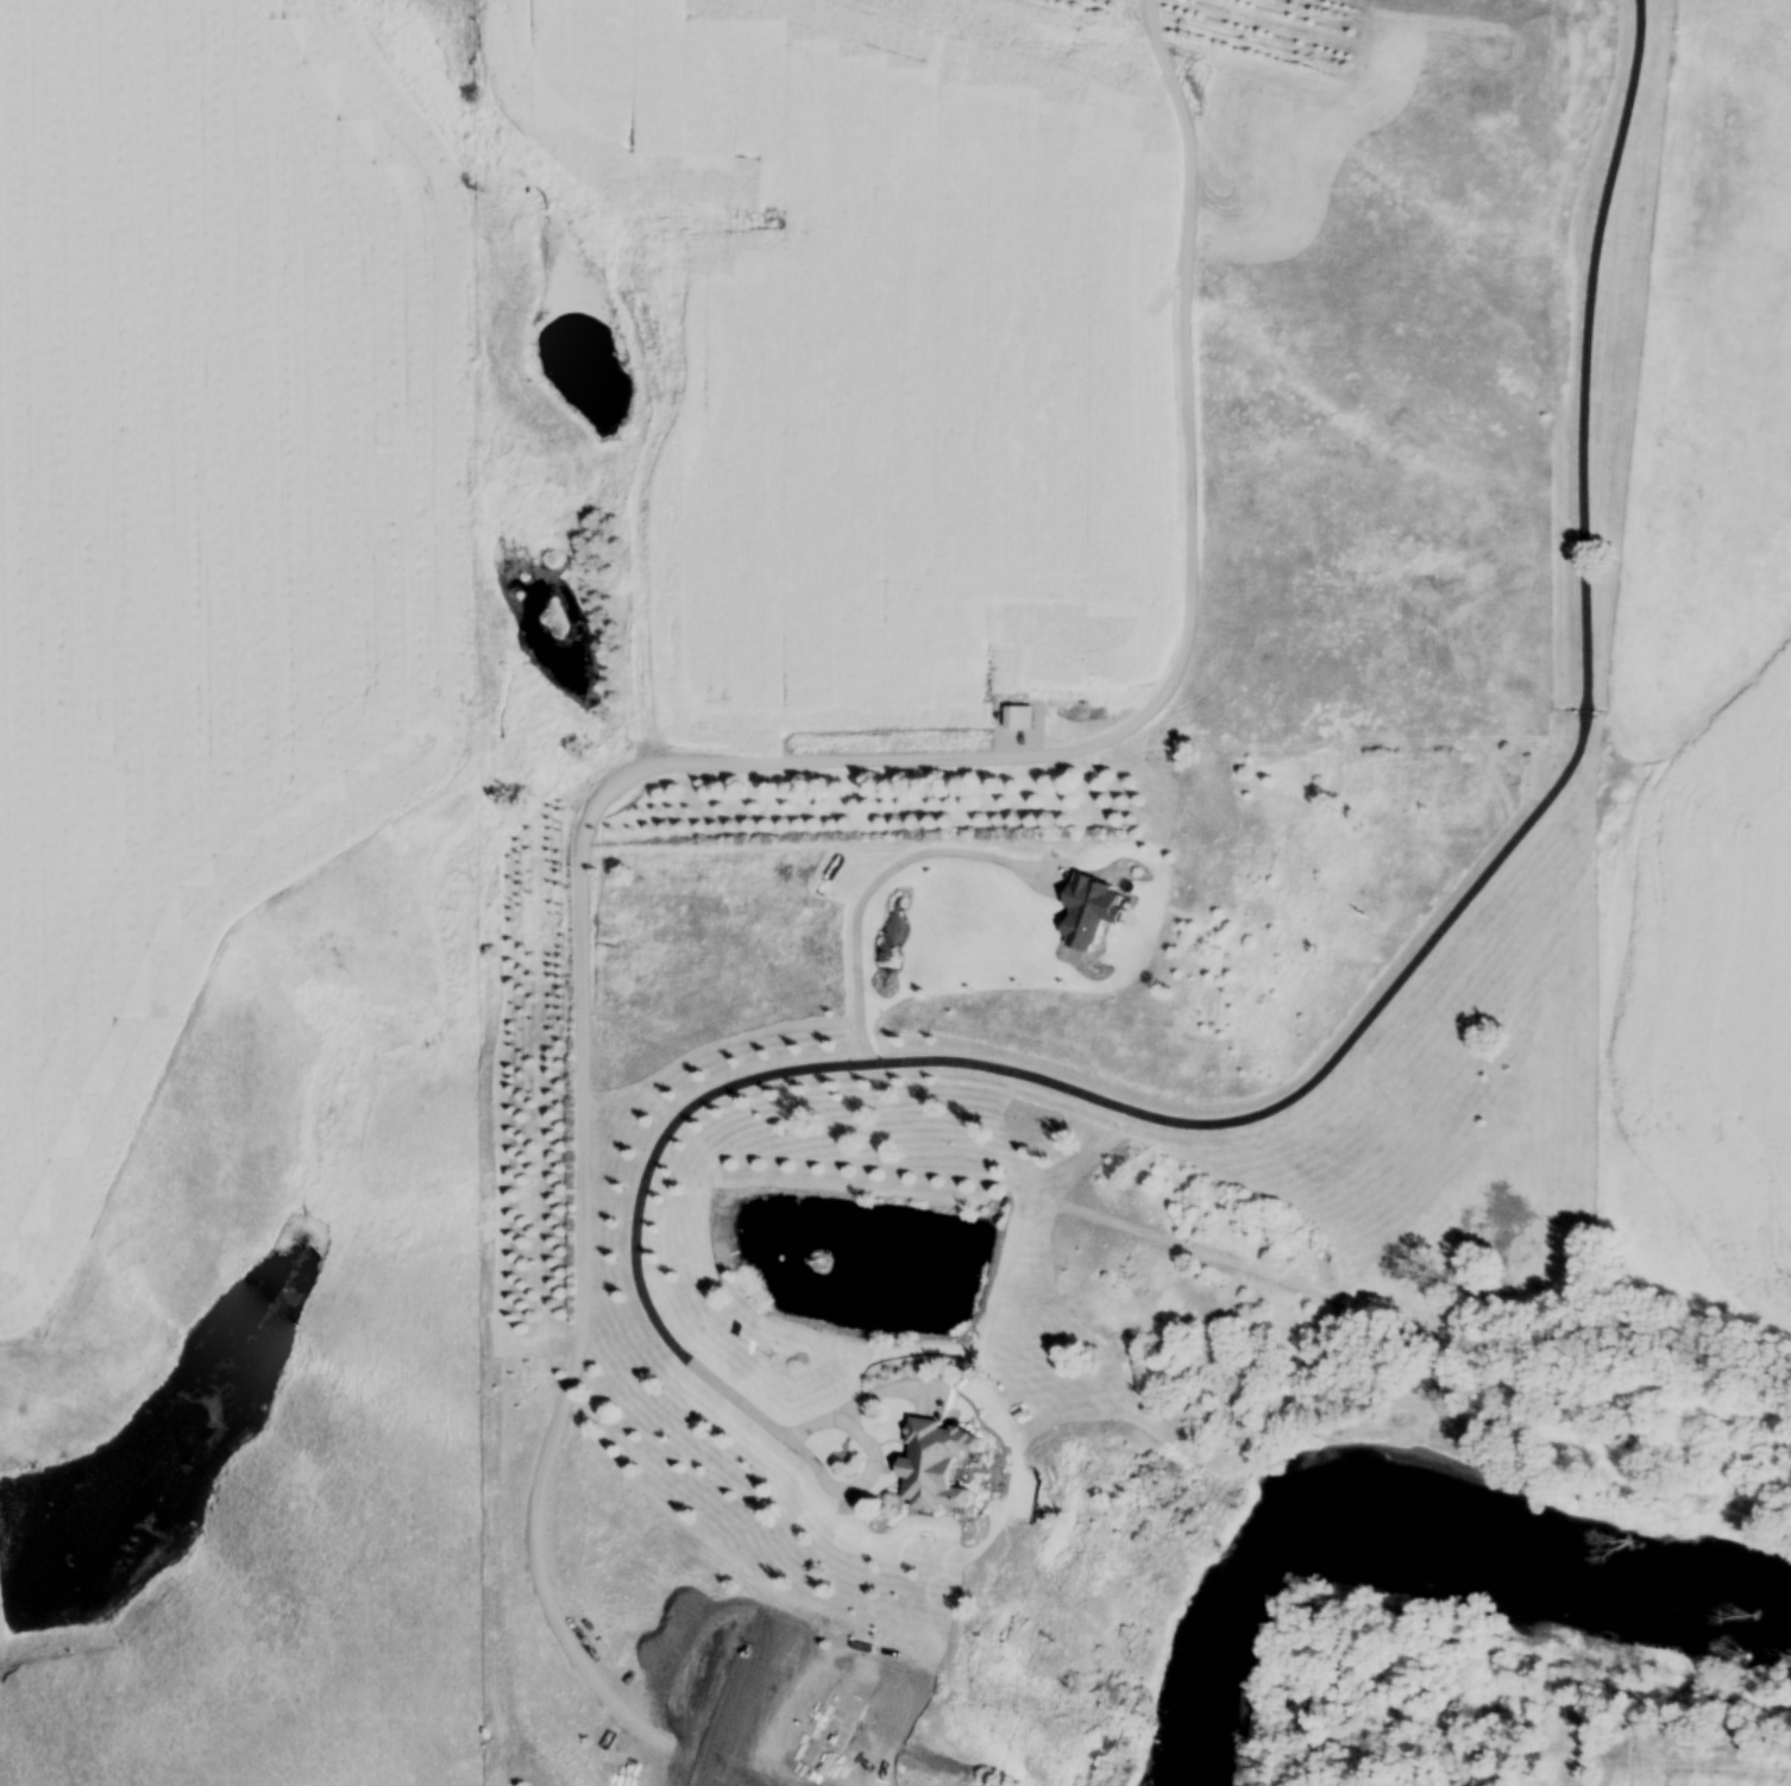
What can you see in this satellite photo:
crop: (205, 532)
road: (872, 886)
building: (1095, 914)
road: (1346, 1039)
road: (868, 1459)
building: (943, 1470)
river: (1401, 1498)

